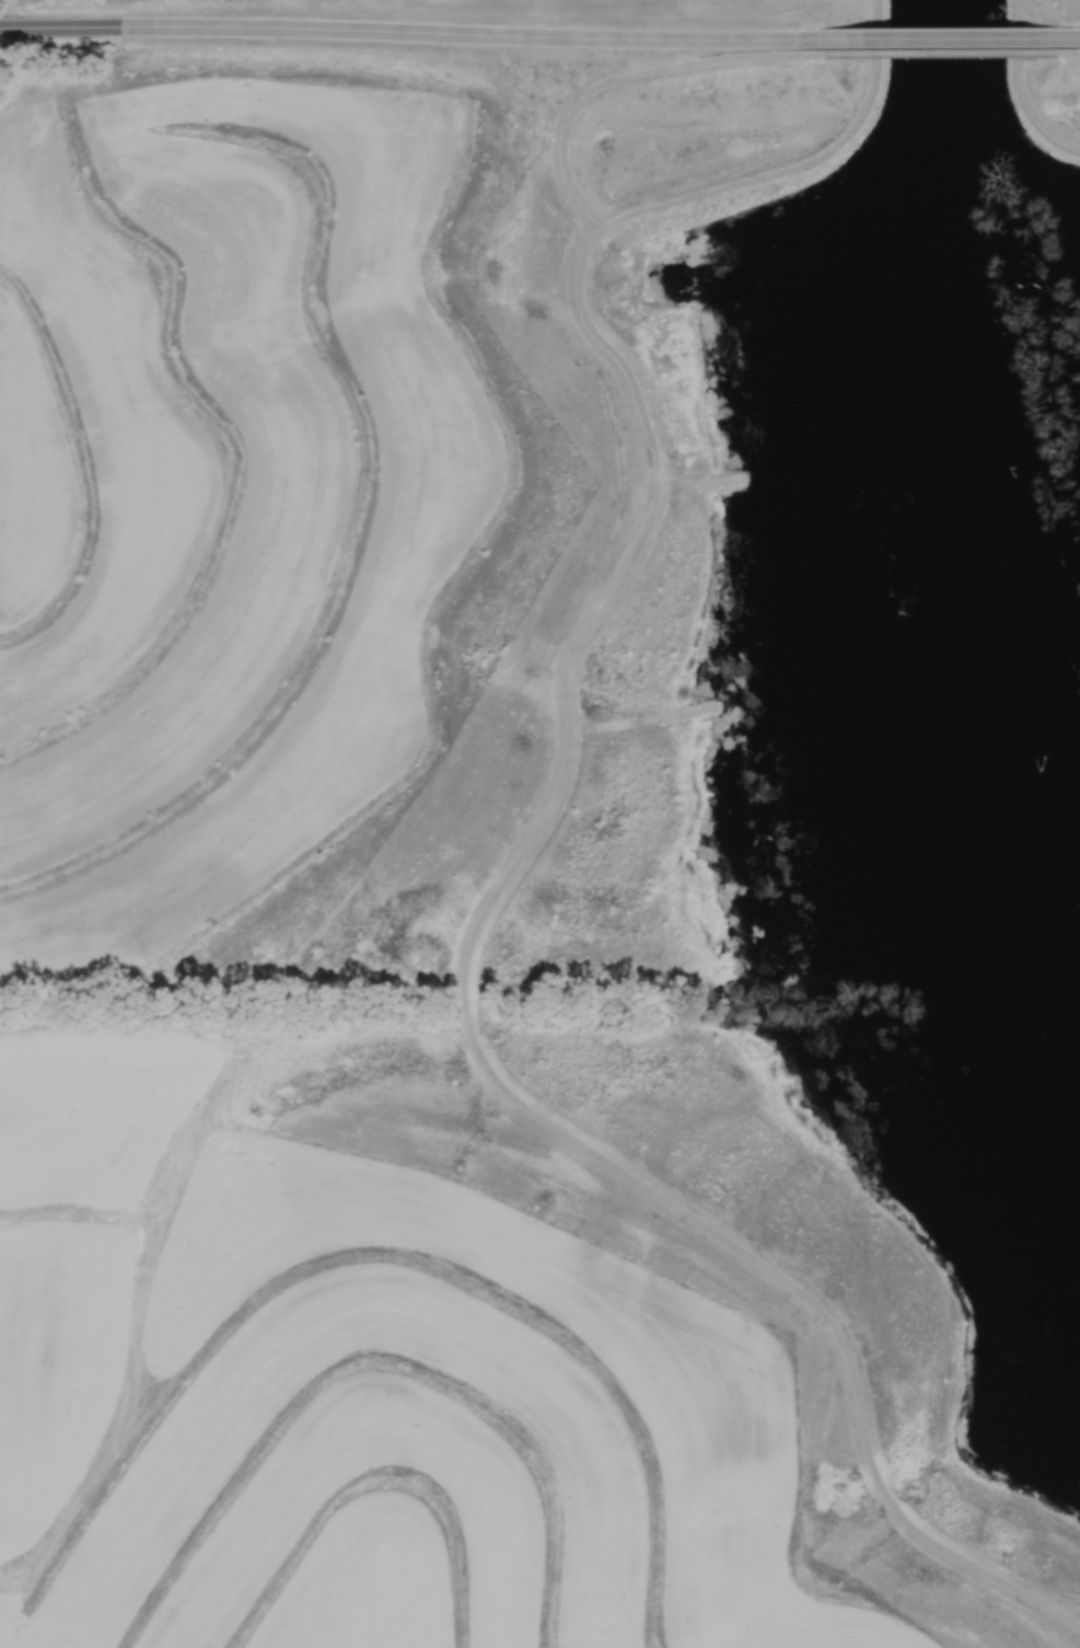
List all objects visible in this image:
road: (420, 33)
road: (1070, 36)
road: (951, 37)
road: (1072, 53)
road: (951, 54)
road: (638, 70)
road: (1021, 90)
road: (696, 483)
road: (641, 723)
park: (760, 733)
road: (524, 845)

